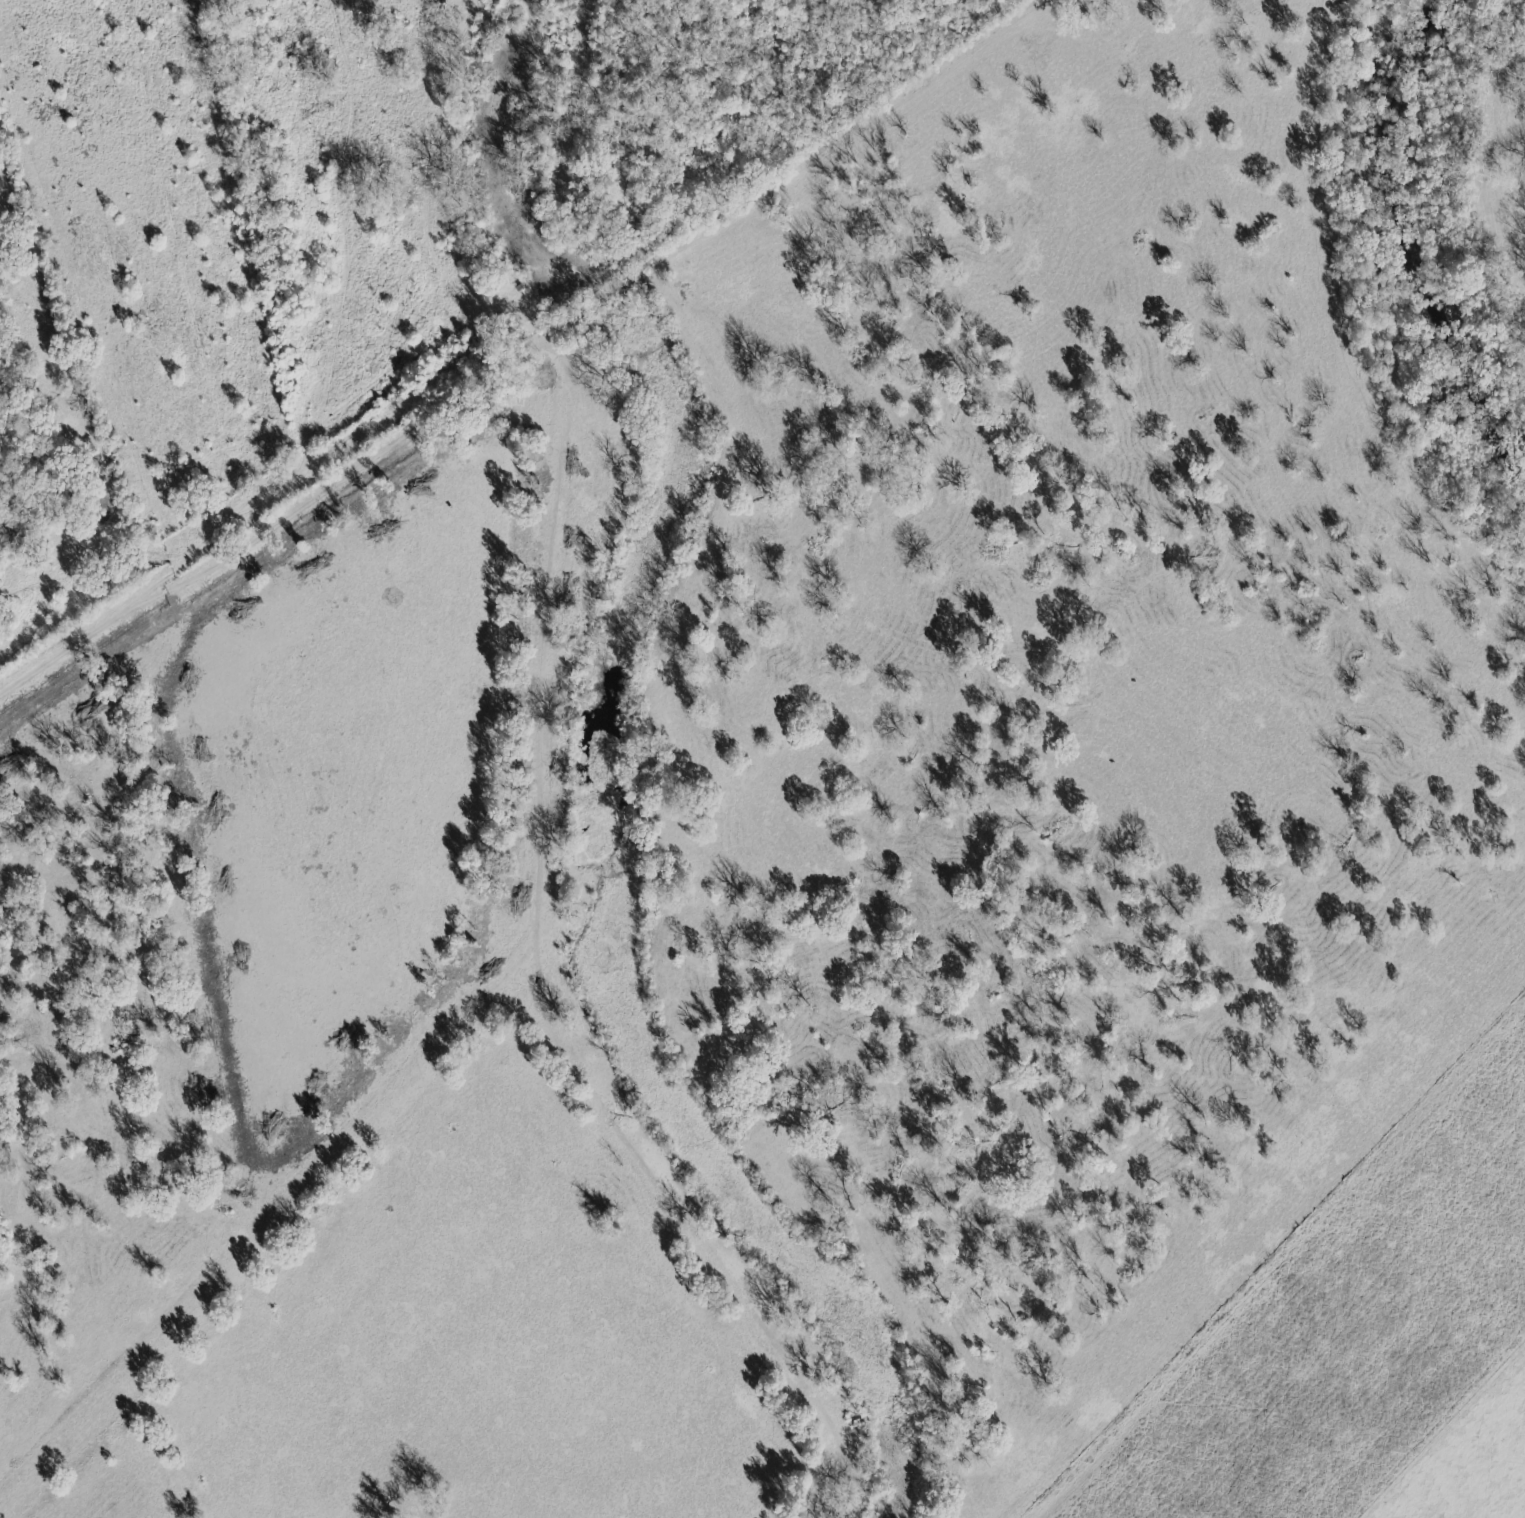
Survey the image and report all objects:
road: (804, 176)
road: (275, 532)
road: (547, 636)
road: (274, 1233)

